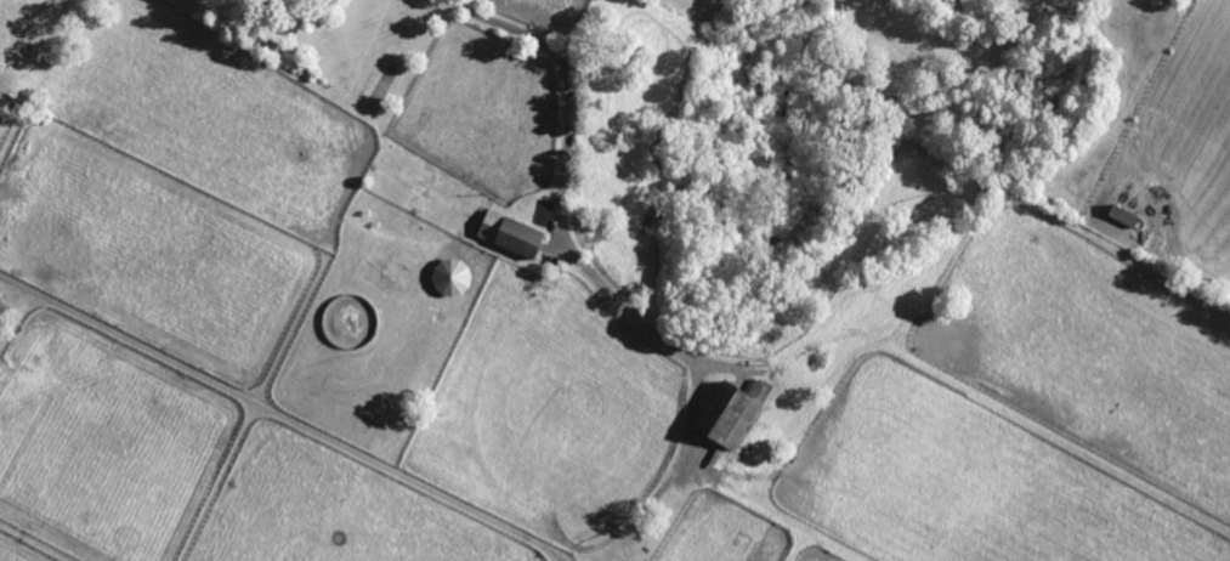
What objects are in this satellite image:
building: (294, 1)
road: (568, 174)
building: (1128, 217)
building: (516, 237)
road: (280, 415)
building: (735, 415)

